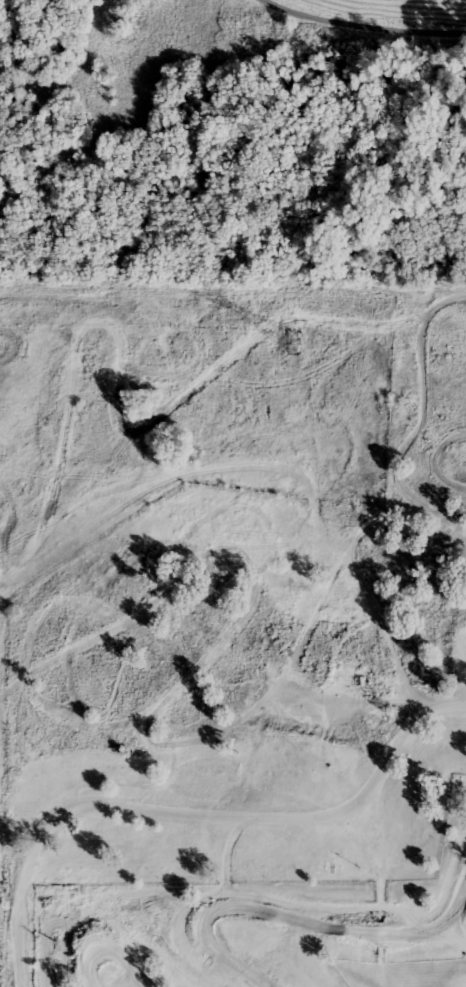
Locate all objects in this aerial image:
road: (364, 21)
power tower: (291, 341)
road: (197, 815)

